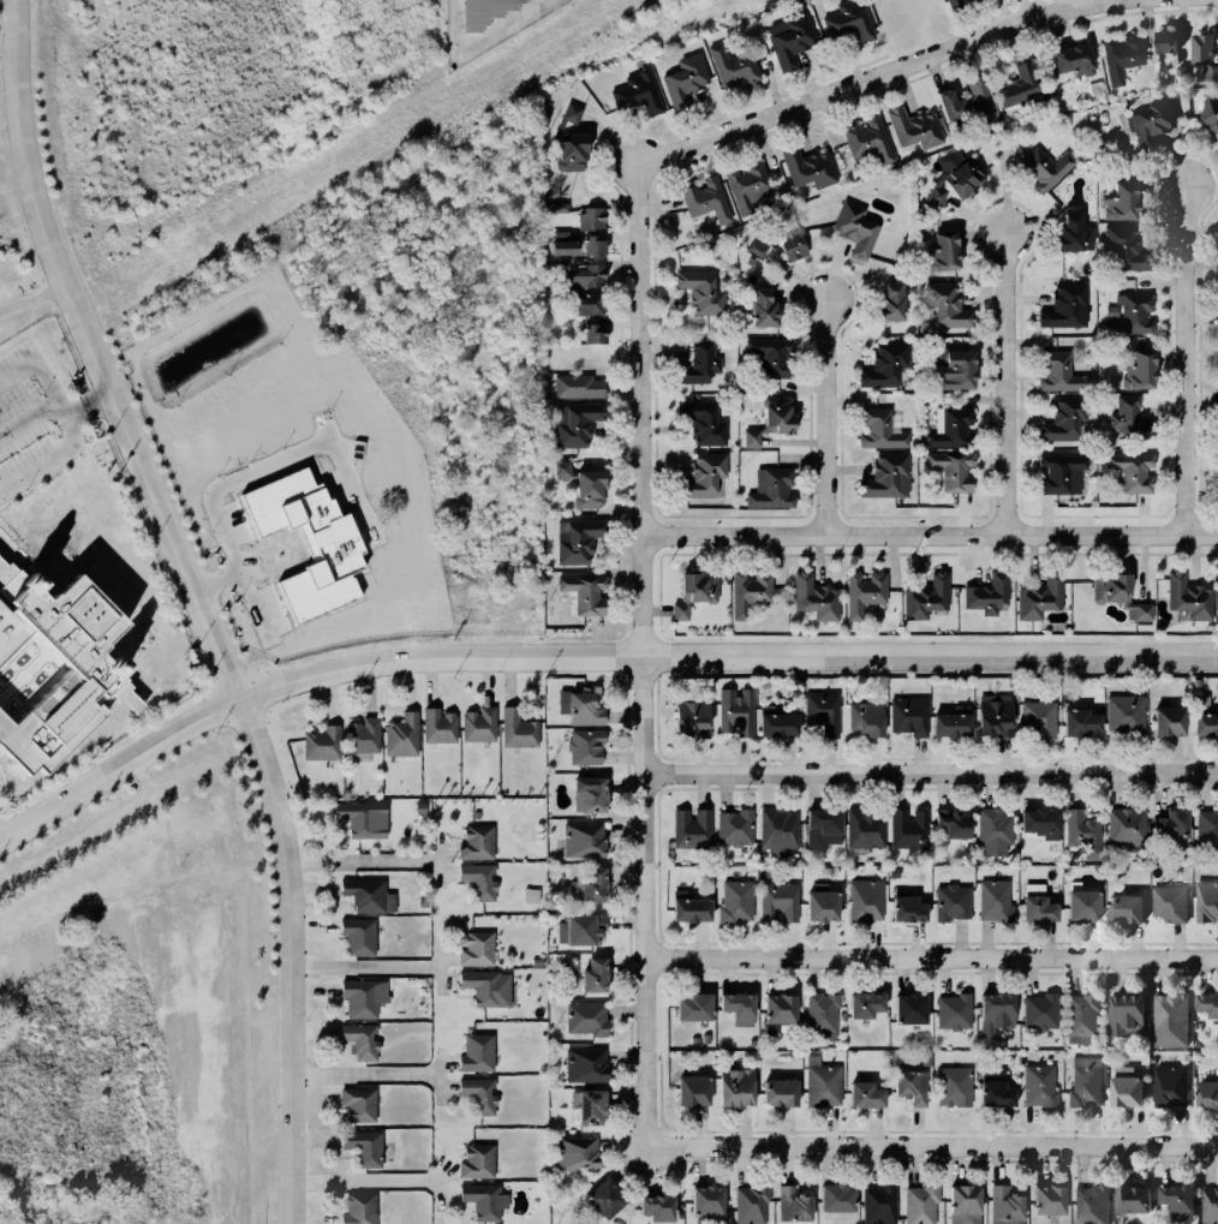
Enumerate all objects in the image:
building: (969, 0)
road: (7, 1)
building: (951, 4)
building: (483, 12)
building: (847, 23)
road: (480, 37)
building: (787, 40)
building: (1163, 42)
building: (1199, 48)
building: (1120, 59)
building: (1070, 61)
building: (730, 66)
building: (1178, 73)
building: (1206, 73)
building: (683, 80)
building: (1015, 85)
building: (637, 94)
building: (968, 105)
building: (1206, 119)
building: (1150, 124)
building: (912, 130)
building: (568, 143)
building: (865, 143)
building: (1216, 144)
road: (1162, 159)
building: (806, 168)
building: (1041, 169)
building: (953, 178)
building: (746, 187)
building: (704, 199)
building: (1118, 203)
building: (554, 207)
building: (591, 217)
building: (554, 229)
building: (854, 229)
building: (1069, 233)
building: (591, 243)
building: (559, 245)
building: (756, 246)
building: (792, 247)
building: (1123, 250)
building: (939, 253)
building: (1213, 258)
building: (580, 275)
building: (698, 291)
road: (32, 300)
building: (888, 304)
building: (944, 305)
building: (1212, 305)
building: (589, 306)
building: (757, 308)
building: (1063, 308)
building: (1109, 312)
building: (1129, 316)
building: (556, 317)
building: (590, 332)
building: (766, 352)
road: (95, 358)
road: (1186, 360)
building: (697, 365)
road: (1200, 365)
road: (35, 366)
building: (883, 366)
building: (1213, 368)
building: (1136, 371)
building: (954, 372)
building: (1056, 374)
parking lot: (18, 380)
road: (991, 380)
road: (1007, 384)
building: (574, 387)
road: (80, 406)
road: (643, 407)
building: (1123, 416)
building: (766, 419)
road: (828, 419)
road: (29, 420)
building: (699, 420)
building: (1062, 420)
building: (574, 424)
building: (1214, 428)
building: (949, 430)
building: (877, 431)
parking lot: (23, 440)
parking lot: (25, 458)
road: (49, 462)
building: (561, 471)
building: (950, 471)
building: (1128, 472)
building: (1058, 474)
road: (238, 476)
building: (700, 476)
building: (885, 478)
building: (770, 488)
building: (587, 492)
building: (1213, 497)
road: (931, 536)
building: (578, 539)
road: (11, 549)
road: (903, 556)
fountain: (60, 557)
road: (7, 565)
road: (26, 567)
road: (11, 569)
road: (12, 584)
road: (217, 584)
building: (584, 592)
building: (691, 592)
building: (746, 593)
building: (862, 593)
building: (1115, 595)
building: (983, 596)
building: (1186, 596)
building: (1216, 596)
building: (813, 598)
building: (923, 598)
building: (1037, 598)
building: (1074, 620)
building: (70, 627)
building: (10, 632)
fountain: (141, 639)
road: (13, 647)
road: (47, 651)
road: (585, 656)
fountain: (22, 658)
road: (36, 659)
road: (125, 670)
road: (24, 673)
fountain: (5, 674)
fountain: (6, 674)
road: (22, 674)
fountain: (38, 675)
fountain: (38, 676)
road: (131, 686)
road: (145, 687)
parking lot: (166, 687)
road: (118, 688)
fountain: (23, 692)
road: (12, 694)
road: (36, 694)
building: (578, 706)
building: (819, 709)
building: (735, 713)
building: (1121, 713)
road: (5, 715)
road: (106, 715)
building: (907, 716)
building: (991, 716)
building: (1034, 718)
building: (688, 721)
building: (865, 721)
building: (1076, 721)
building: (772, 722)
building: (1164, 722)
building: (49, 723)
building: (950, 723)
building: (1207, 724)
building: (437, 728)
building: (478, 728)
building: (518, 734)
building: (400, 736)
building: (360, 738)
building: (322, 745)
building: (583, 748)
road: (82, 756)
road: (174, 769)
road: (135, 771)
road: (14, 774)
road: (931, 775)
road: (65, 776)
road: (44, 778)
road: (4, 781)
road: (97, 781)
road: (130, 783)
building: (586, 794)
building: (476, 817)
building: (944, 820)
building: (1033, 820)
building: (359, 823)
building: (1164, 824)
building: (689, 825)
building: (906, 825)
building: (733, 826)
building: (1120, 826)
building: (819, 828)
building: (861, 828)
building: (991, 828)
building: (1207, 829)
building: (777, 830)
building: (1080, 830)
road: (0, 841)
building: (581, 841)
building: (476, 843)
road: (362, 864)
building: (478, 882)
building: (586, 885)
building: (365, 895)
building: (1206, 898)
building: (734, 900)
building: (862, 900)
building: (949, 901)
building: (993, 901)
building: (778, 902)
building: (1171, 904)
building: (817, 906)
building: (1077, 907)
building: (686, 908)
building: (902, 908)
building: (1032, 908)
building: (1122, 908)
building: (577, 931)
building: (354, 935)
building: (474, 950)
road: (932, 956)
road: (289, 959)
road: (364, 968)
building: (590, 977)
road: (240, 985)
building: (479, 986)
building: (358, 998)
building: (860, 1003)
building: (1207, 1003)
building: (689, 1007)
building: (733, 1008)
building: (903, 1008)
building: (951, 1008)
building: (775, 1009)
building: (1035, 1011)
building: (818, 1013)
building: (1077, 1013)
building: (1122, 1013)
building: (992, 1014)
building: (584, 1020)
building: (1168, 1020)
building: (358, 1043)
building: (474, 1053)
building: (583, 1065)
road: (365, 1075)
building: (1083, 1082)
building: (820, 1083)
building: (1168, 1086)
building: (951, 1087)
building: (1037, 1087)
building: (730, 1088)
building: (1121, 1088)
building: (687, 1091)
building: (907, 1092)
building: (474, 1093)
building: (777, 1093)
building: (991, 1094)
building: (1206, 1094)
building: (861, 1095)
building: (356, 1104)
building: (583, 1106)
building: (363, 1147)
road: (932, 1147)
building: (575, 1154)
building: (476, 1160)
road: (366, 1184)
building: (599, 1196)
building: (832, 1198)
building: (1127, 1198)
building: (1044, 1199)
building: (479, 1200)
building: (701, 1201)
building: (878, 1202)
building: (1176, 1202)
building: (751, 1204)
building: (918, 1204)
building: (960, 1204)
building: (651, 1205)
building: (792, 1205)
building: (1091, 1205)
building: (1210, 1205)
building: (1004, 1207)
building: (357, 1210)

